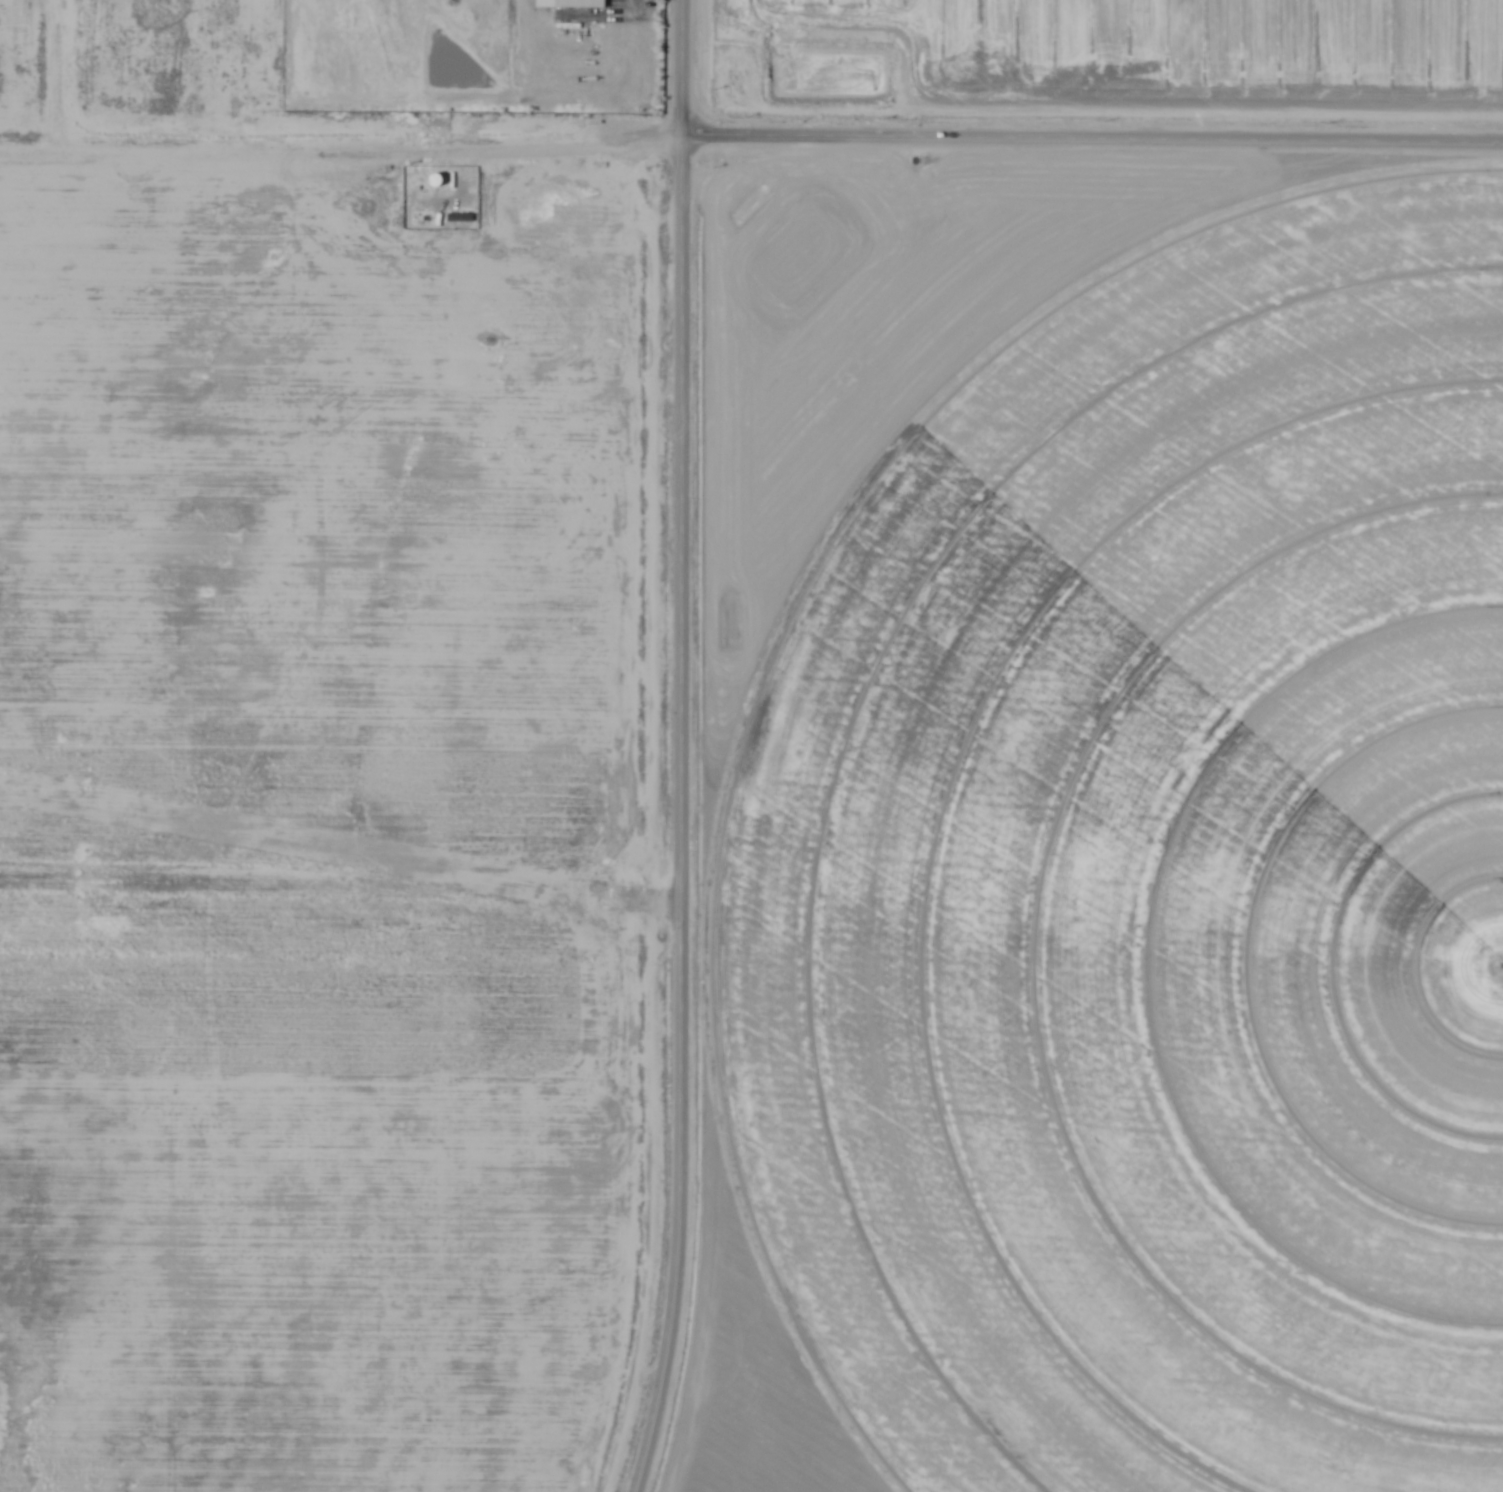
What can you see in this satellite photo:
building: (579, 3)
road: (53, 81)
road: (1093, 142)
road: (342, 150)
building: (435, 179)
road: (690, 748)
crop: (1122, 783)
road: (1098, 1025)

